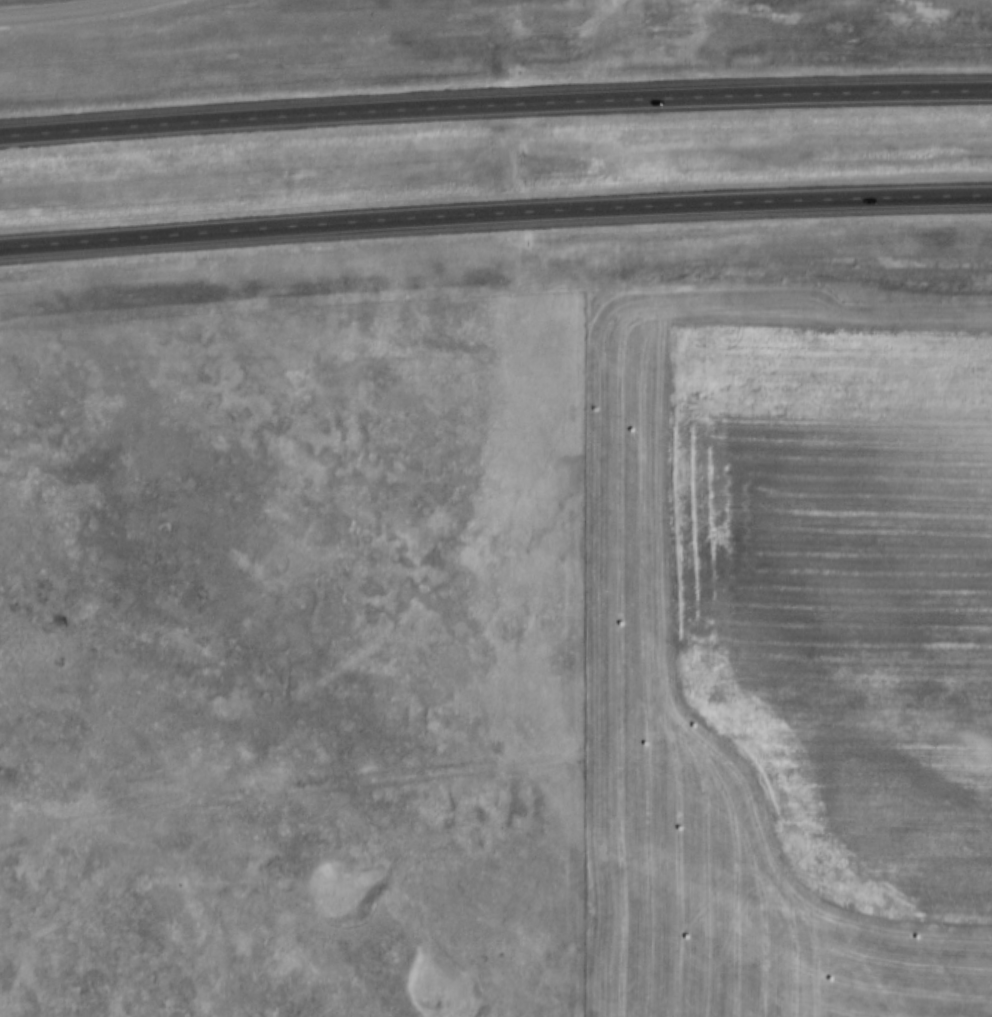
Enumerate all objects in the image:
road: (85, 13)
road: (495, 107)
road: (495, 218)
road: (612, 667)

